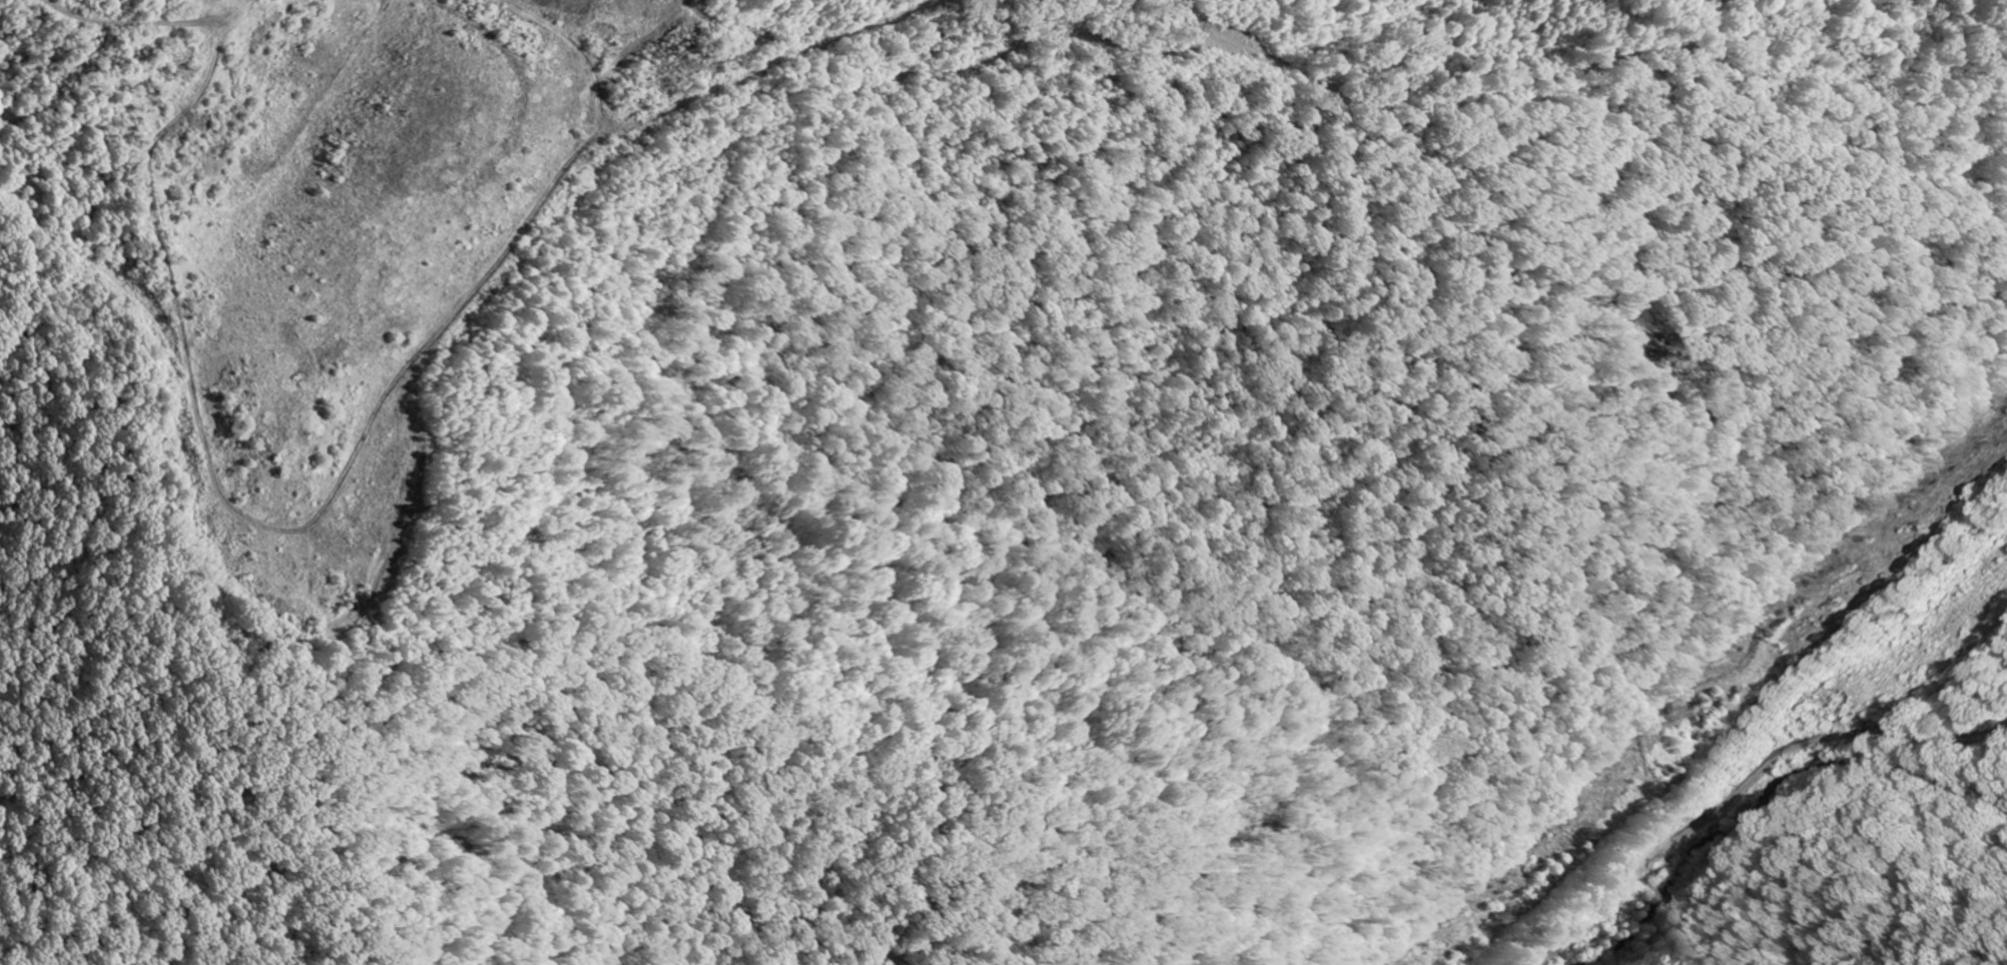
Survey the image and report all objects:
road: (1753, 805)

